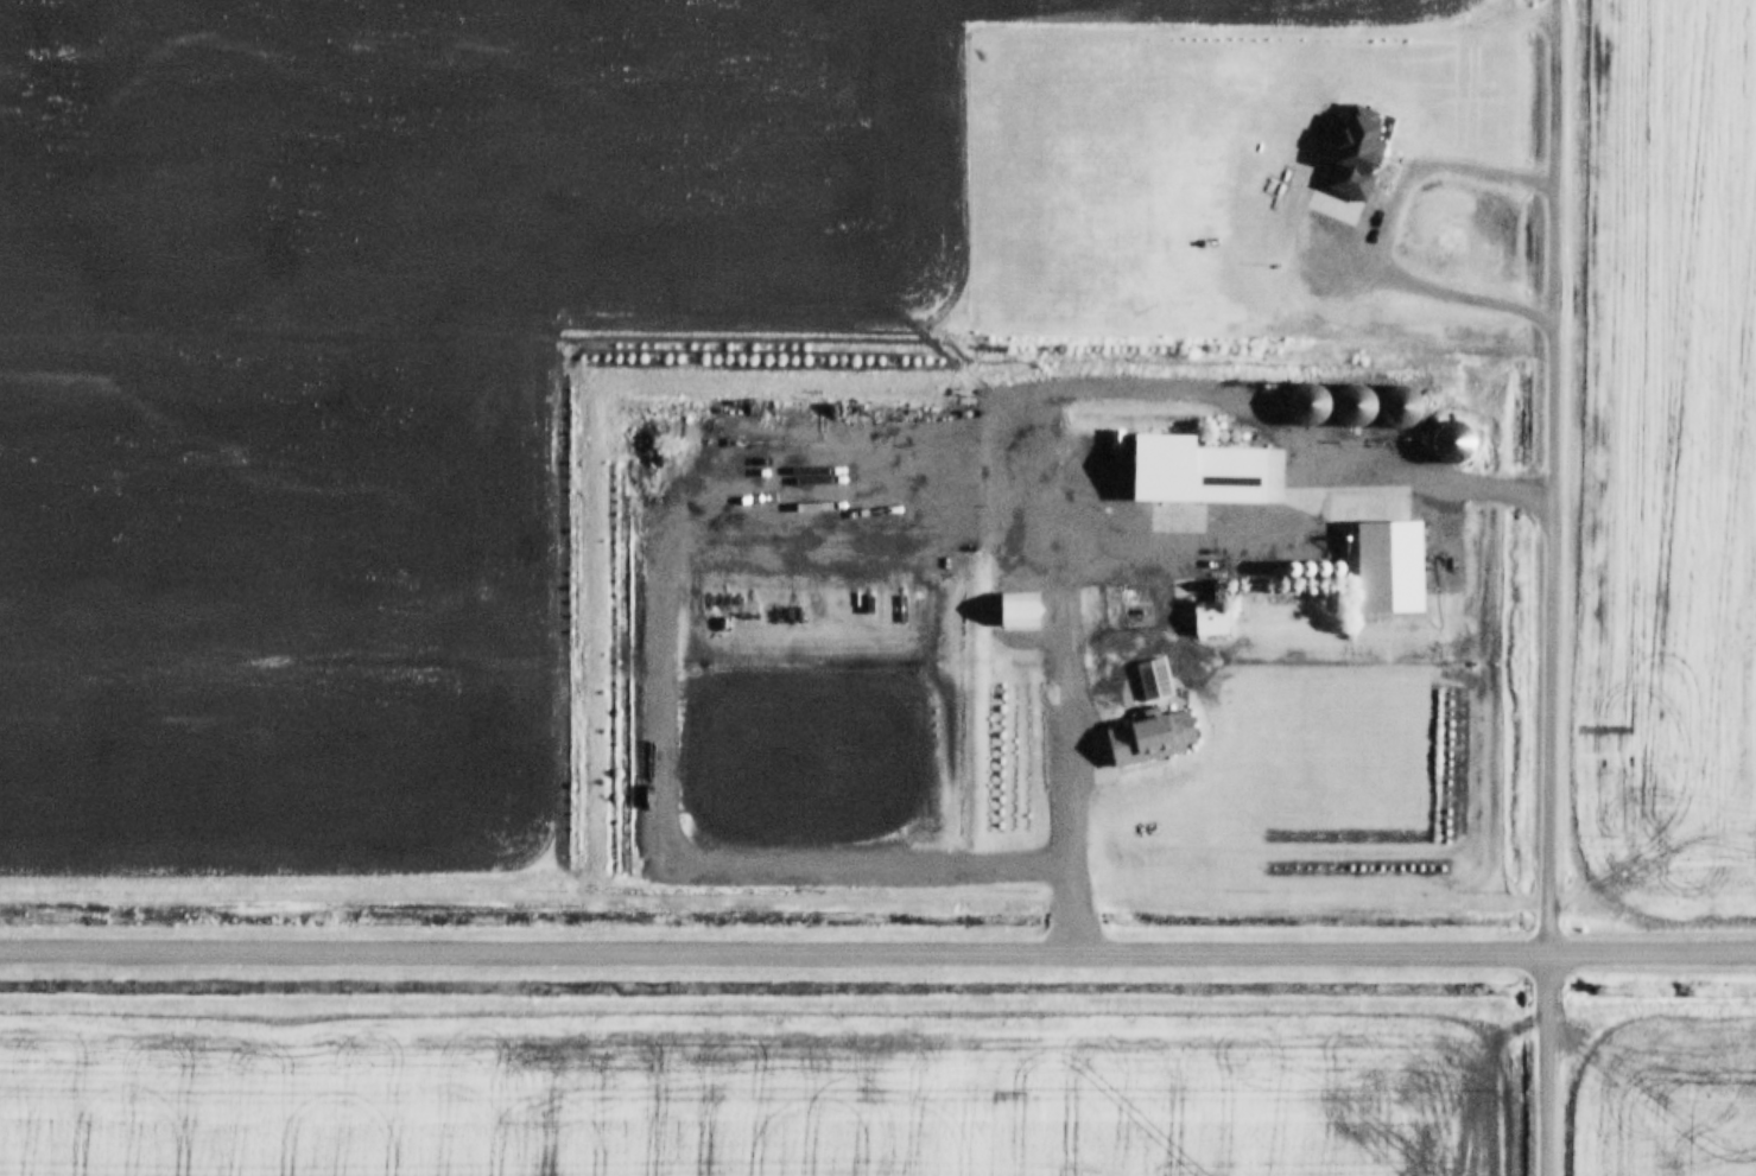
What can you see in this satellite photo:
road: (1555, 87)
road: (1392, 227)
road: (1120, 522)
road: (1555, 559)
building: (1141, 733)
road: (877, 948)
road: (1545, 1059)

